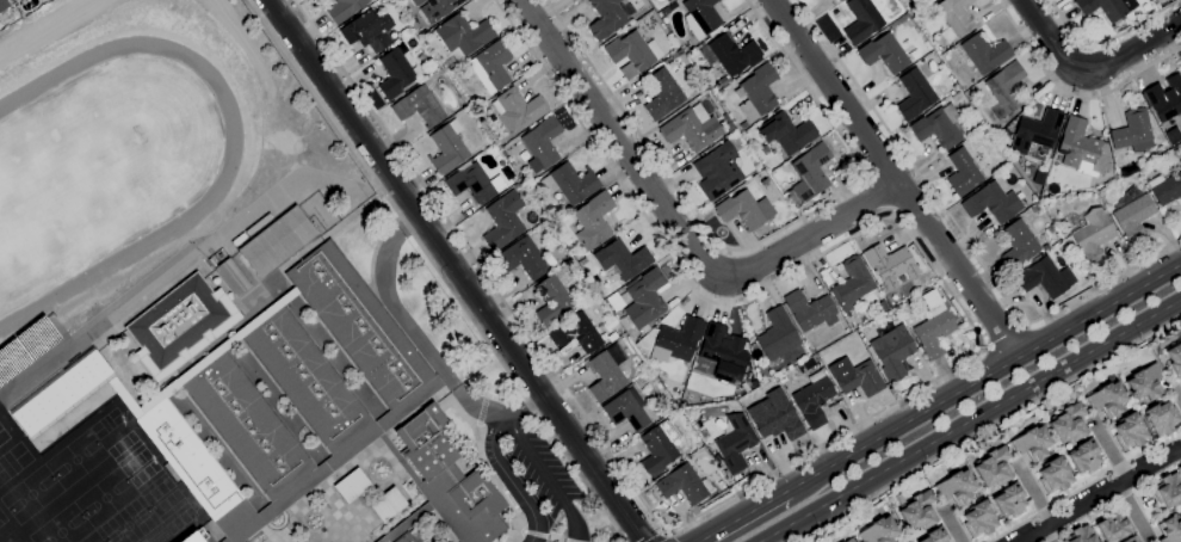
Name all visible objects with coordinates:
building: (927, 0)
building: (929, 0)
building: (4, 5)
building: (1106, 7)
building: (437, 8)
building: (344, 10)
building: (664, 12)
building: (956, 16)
building: (607, 17)
building: (701, 18)
building: (861, 20)
building: (367, 31)
building: (947, 35)
building: (460, 36)
road: (1109, 38)
building: (631, 53)
building: (984, 53)
building: (734, 54)
building: (883, 54)
building: (490, 67)
road: (1092, 69)
building: (395, 74)
building: (723, 81)
building: (1004, 88)
building: (756, 92)
building: (662, 94)
building: (914, 94)
road: (1072, 94)
building: (1164, 98)
building: (474, 103)
building: (419, 106)
building: (962, 106)
building: (518, 110)
building: (743, 125)
building: (939, 127)
building: (691, 128)
building: (1134, 130)
building: (1035, 131)
building: (787, 134)
building: (542, 143)
building: (447, 148)
building: (1082, 149)
track: (100, 167)
building: (717, 171)
building: (962, 172)
building: (809, 174)
road: (894, 175)
track: (222, 180)
building: (474, 184)
building: (570, 184)
park: (68, 185)
building: (1165, 187)
building: (991, 203)
building: (1035, 209)
building: (744, 210)
building: (1132, 215)
building: (502, 221)
building: (593, 221)
road: (676, 224)
building: (1050, 229)
building: (1089, 233)
road: (962, 234)
road: (756, 241)
building: (277, 242)
building: (1018, 246)
building: (1045, 246)
building: (525, 258)
building: (620, 259)
building: (890, 264)
road: (438, 270)
road: (457, 270)
building: (230, 277)
building: (1044, 277)
building: (852, 283)
building: (644, 298)
building: (552, 301)
building: (614, 302)
building: (882, 304)
building: (809, 310)
building: (177, 321)
building: (359, 324)
building: (933, 326)
road: (410, 328)
road: (1001, 332)
building: (215, 333)
building: (576, 333)
building: (777, 334)
building: (673, 340)
building: (218, 350)
building: (723, 352)
building: (892, 352)
building: (791, 353)
building: (1175, 359)
road: (983, 371)
building: (606, 372)
building: (855, 376)
building: (1144, 382)
building: (311, 386)
building: (60, 393)
road: (1177, 394)
building: (1107, 399)
building: (812, 400)
building: (409, 404)
building: (626, 409)
road: (866, 418)
building: (1161, 418)
road: (969, 419)
building: (775, 420)
building: (1069, 424)
road: (988, 429)
building: (252, 431)
building: (1129, 431)
building: (735, 443)
building: (1032, 443)
building: (658, 446)
building: (1084, 456)
park: (76, 458)
building: (187, 458)
building: (400, 460)
park: (14, 462)
road: (496, 462)
building: (328, 467)
building: (993, 467)
building: (1055, 475)
road: (1118, 475)
road: (551, 476)
building: (450, 480)
building: (928, 480)
parking lot: (546, 482)
building: (684, 485)
building: (352, 486)
road: (1084, 486)
building: (958, 488)
building: (1168, 489)
park: (32, 494)
road: (1099, 494)
road: (1034, 499)
building: (1009, 500)
building: (388, 505)
building: (917, 511)
road: (741, 515)
building: (978, 519)
building: (242, 521)
building: (406, 523)
road: (948, 524)
building: (1112, 525)
building: (1169, 530)
building: (879, 531)
road: (543, 535)
building: (1080, 535)
building: (197, 536)
road: (660, 536)
building: (935, 536)
building: (403, 537)
building: (849, 540)
building: (1131, 540)

